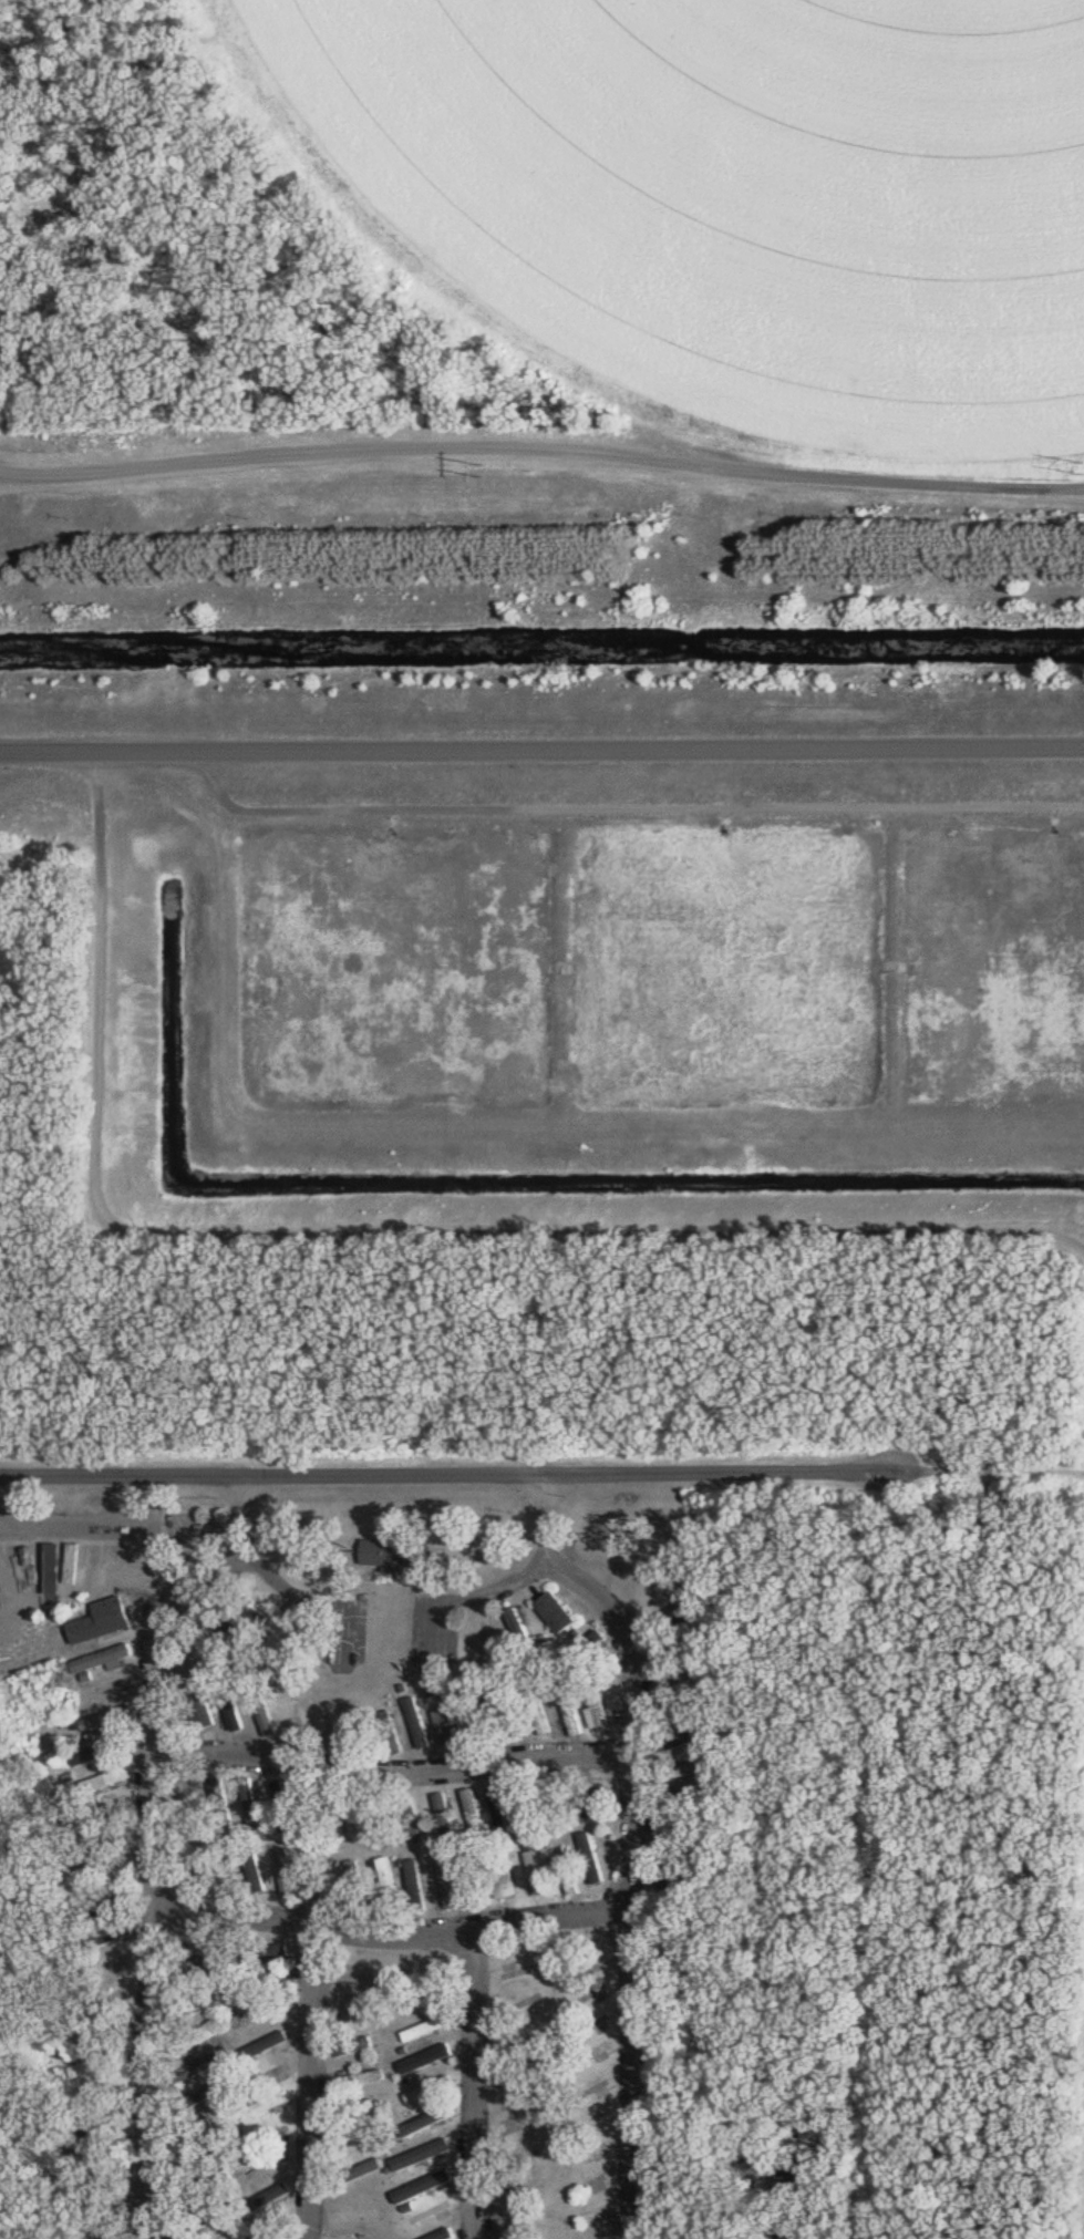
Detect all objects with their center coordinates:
road: (261, 455)
power tower: (1080, 462)
power tower: (487, 466)
road: (29, 477)
wastewater plant: (558, 595)
road: (541, 742)
road: (629, 806)
road: (454, 1474)
road: (556, 1517)
road: (247, 1518)
road: (117, 1523)
building: (398, 1554)
building: (252, 1609)
building: (558, 1612)
building: (675, 1618)
building: (105, 1621)
building: (218, 1624)
building: (523, 1629)
building: (285, 1633)
building: (689, 1645)
building: (591, 1649)
building: (105, 1658)
building: (684, 1678)
building: (695, 1704)
building: (513, 1705)
building: (234, 1706)
building: (541, 1707)
building: (601, 1707)
building: (572, 1709)
building: (203, 1712)
building: (266, 1714)
building: (482, 1714)
building: (110, 1717)
building: (421, 1723)
building: (359, 1724)
building: (452, 1725)
building: (393, 1732)
building: (688, 1740)
building: (686, 1771)
road: (399, 1775)
building: (110, 1779)
building: (686, 1799)
building: (254, 1803)
building: (599, 1803)
building: (224, 1804)
building: (564, 1805)
building: (285, 1806)
building: (313, 1807)
building: (534, 1807)
building: (502, 1813)
building: (103, 1814)
building: (352, 1815)
building: (477, 1815)
building: (447, 1817)
road: (640, 1817)
building: (415, 1820)
building: (386, 1823)
building: (690, 1832)
building: (107, 1841)
road: (165, 1850)
building: (593, 1857)
building: (255, 1865)
building: (538, 1872)
building: (680, 1874)
building: (288, 1875)
building: (571, 1875)
building: (103, 1876)
building: (316, 1876)
building: (475, 1878)
building: (506, 1880)
building: (360, 1884)
building: (392, 1884)
building: (419, 1886)
building: (451, 1886)
building: (110, 1909)
road: (398, 1936)
building: (111, 1937)
building: (261, 1953)
building: (196, 1970)
building: (359, 1979)
building: (204, 2004)
building: (430, 2028)
building: (199, 2037)
building: (357, 2046)
building: (431, 2059)
building: (199, 2068)
building: (361, 2080)
road: (317, 2083)
road: (475, 2085)
building: (431, 2090)
building: (200, 2097)
building: (264, 2108)
building: (357, 2108)
building: (429, 2122)
building: (96, 2127)
building: (357, 2143)
building: (424, 2155)
building: (198, 2161)
building: (361, 2171)
building: (796, 2181)
building: (206, 2187)
building: (425, 2187)
building: (268, 2200)
building: (362, 2215)
building: (208, 2220)
building: (792, 2230)
building: (445, 2235)

